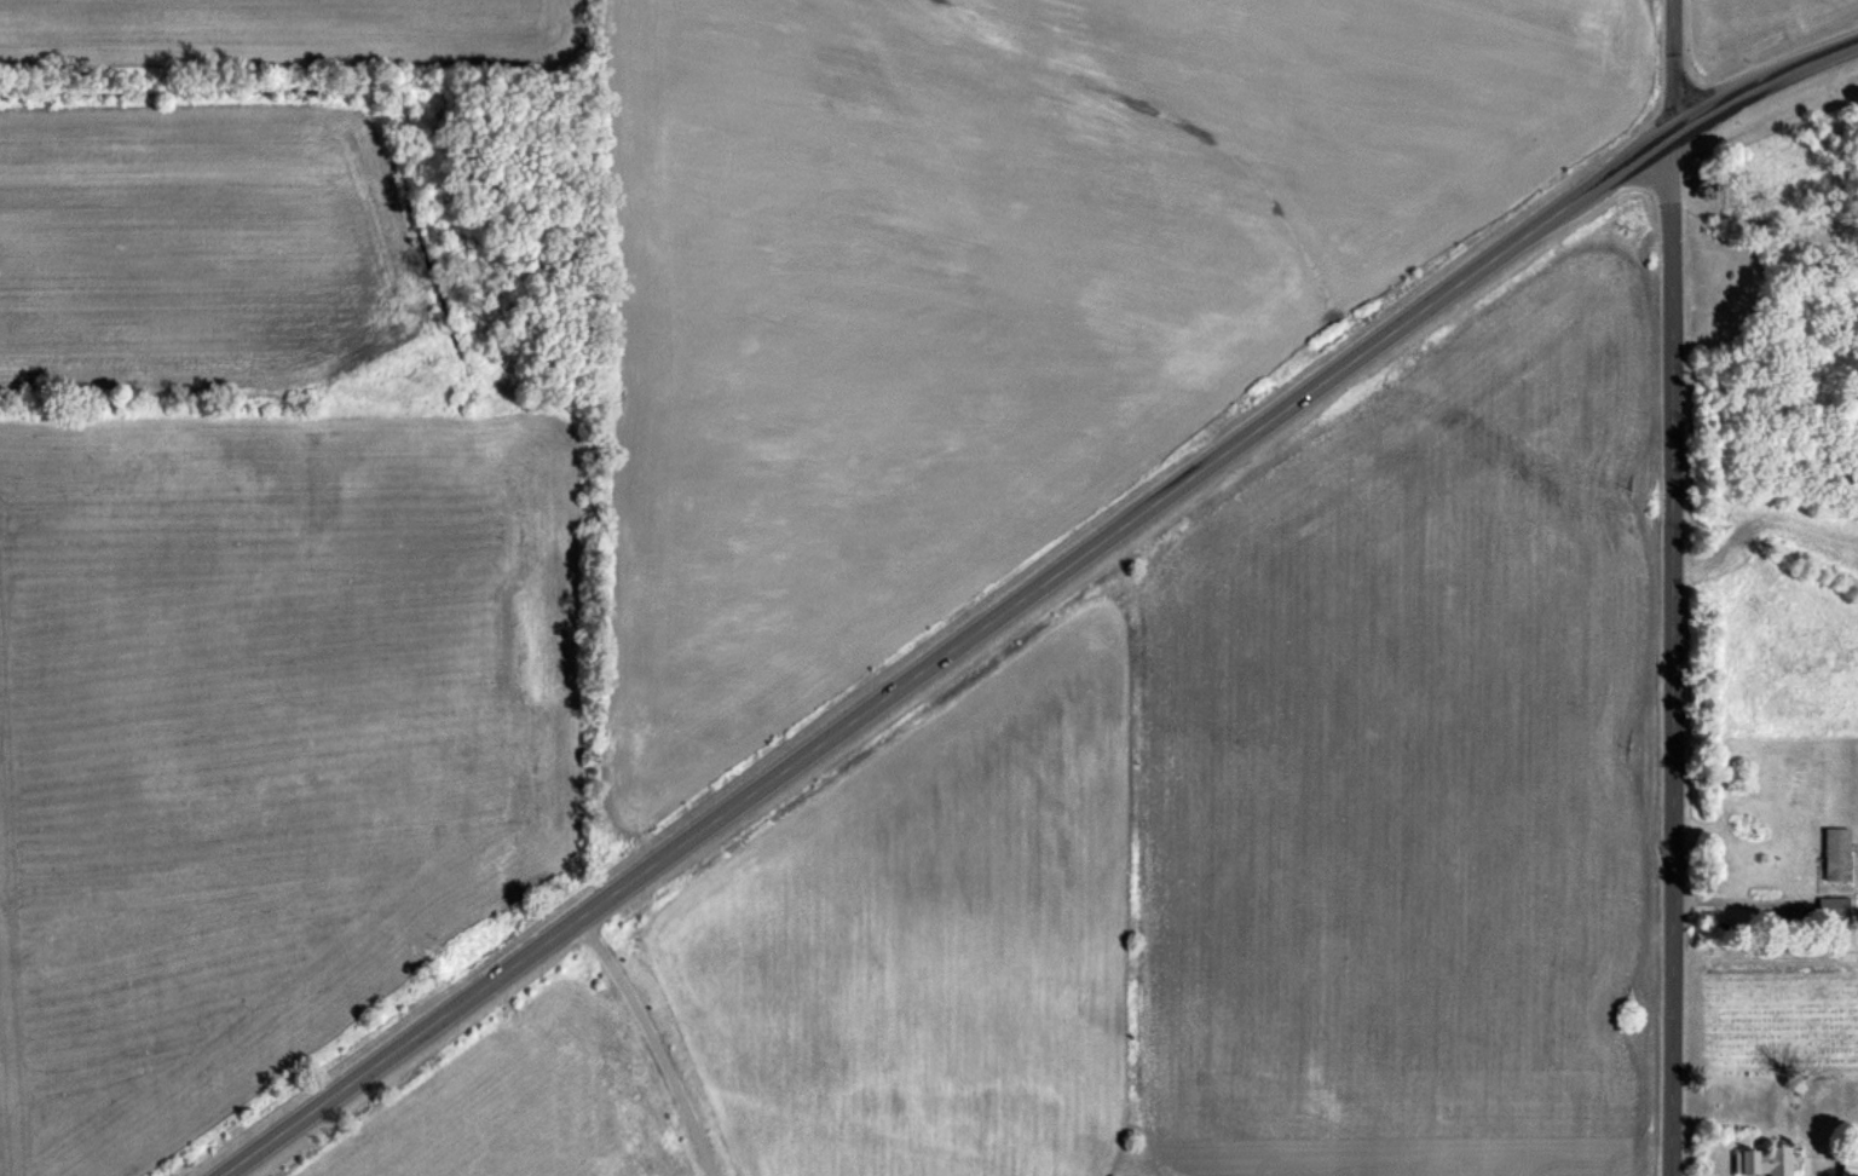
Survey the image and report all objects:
road: (1677, 587)
road: (1029, 593)
building: (1835, 852)
building: (1831, 906)
road: (660, 1040)
building: (1762, 1160)
building: (1848, 1164)

